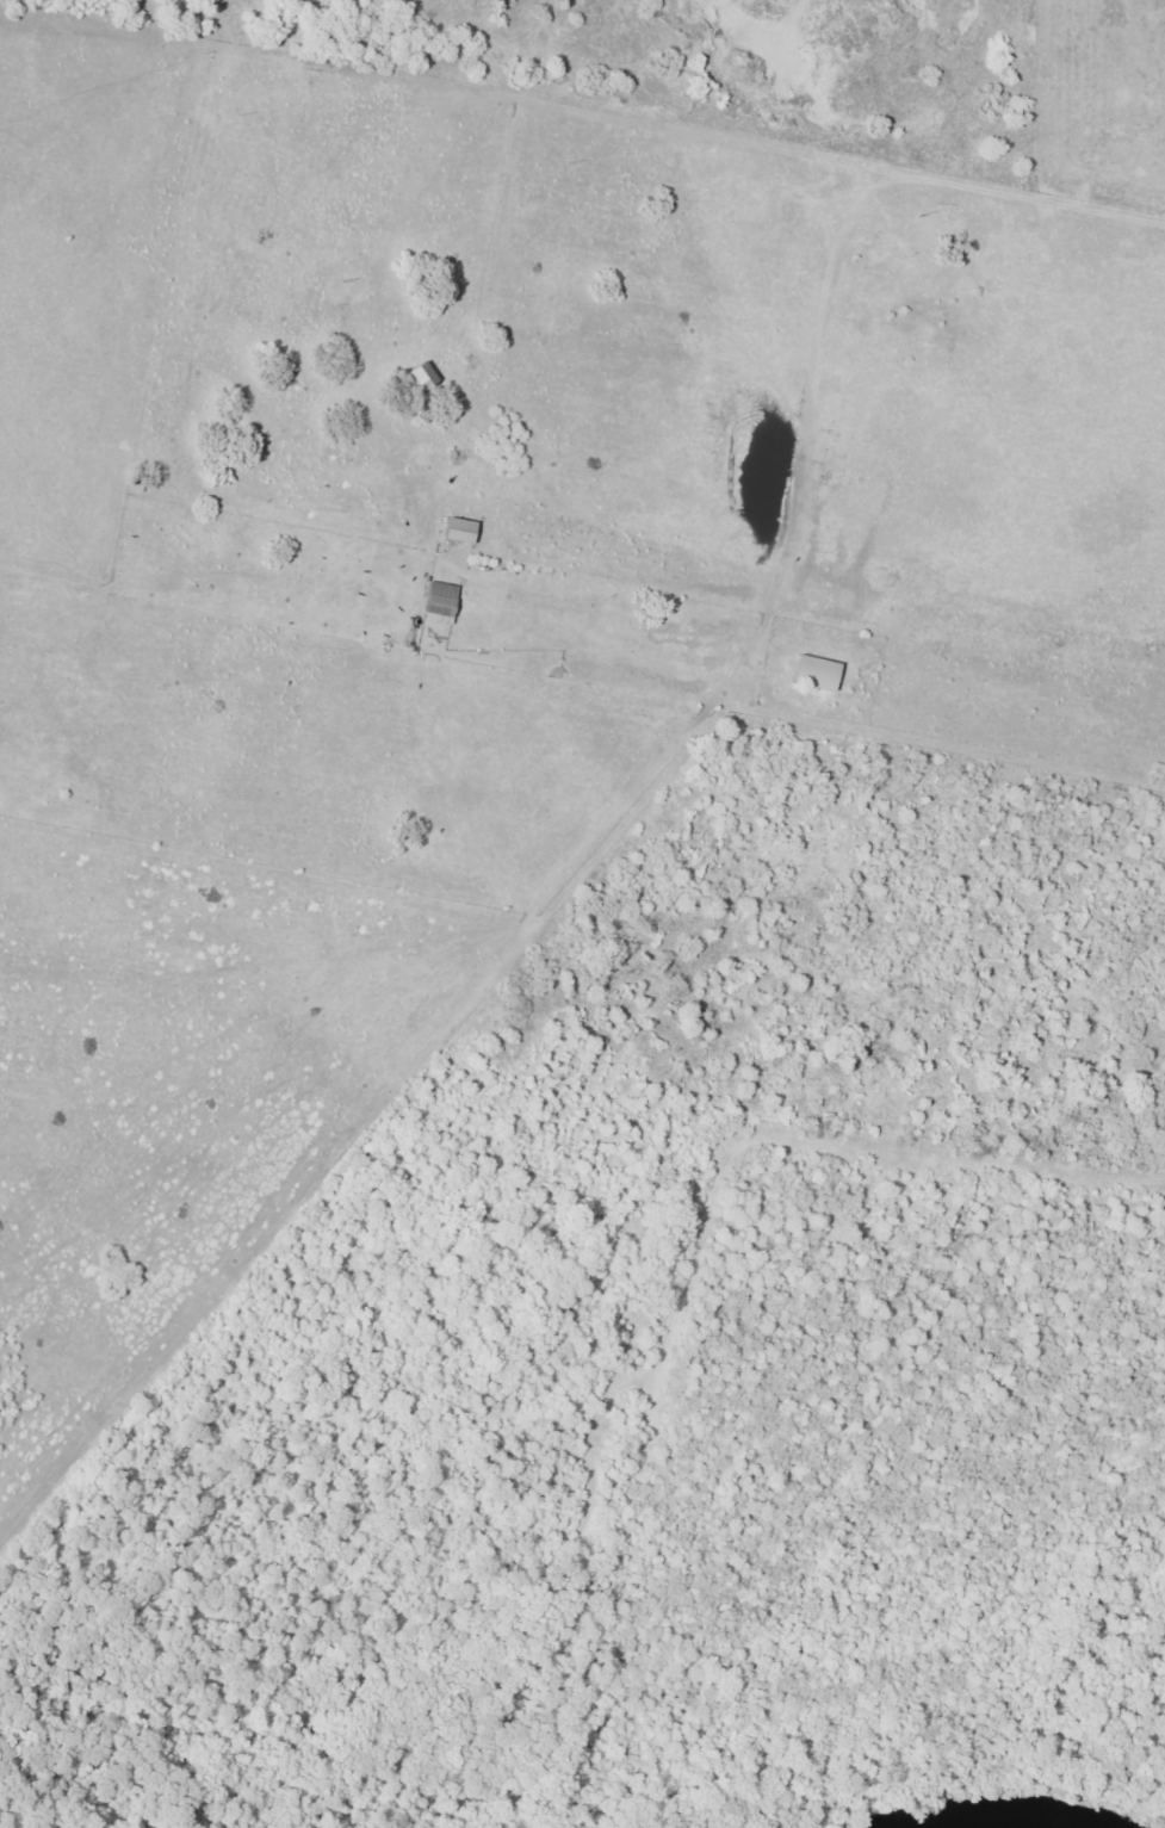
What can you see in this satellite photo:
building: (420, 378)
building: (458, 531)
building: (814, 673)

